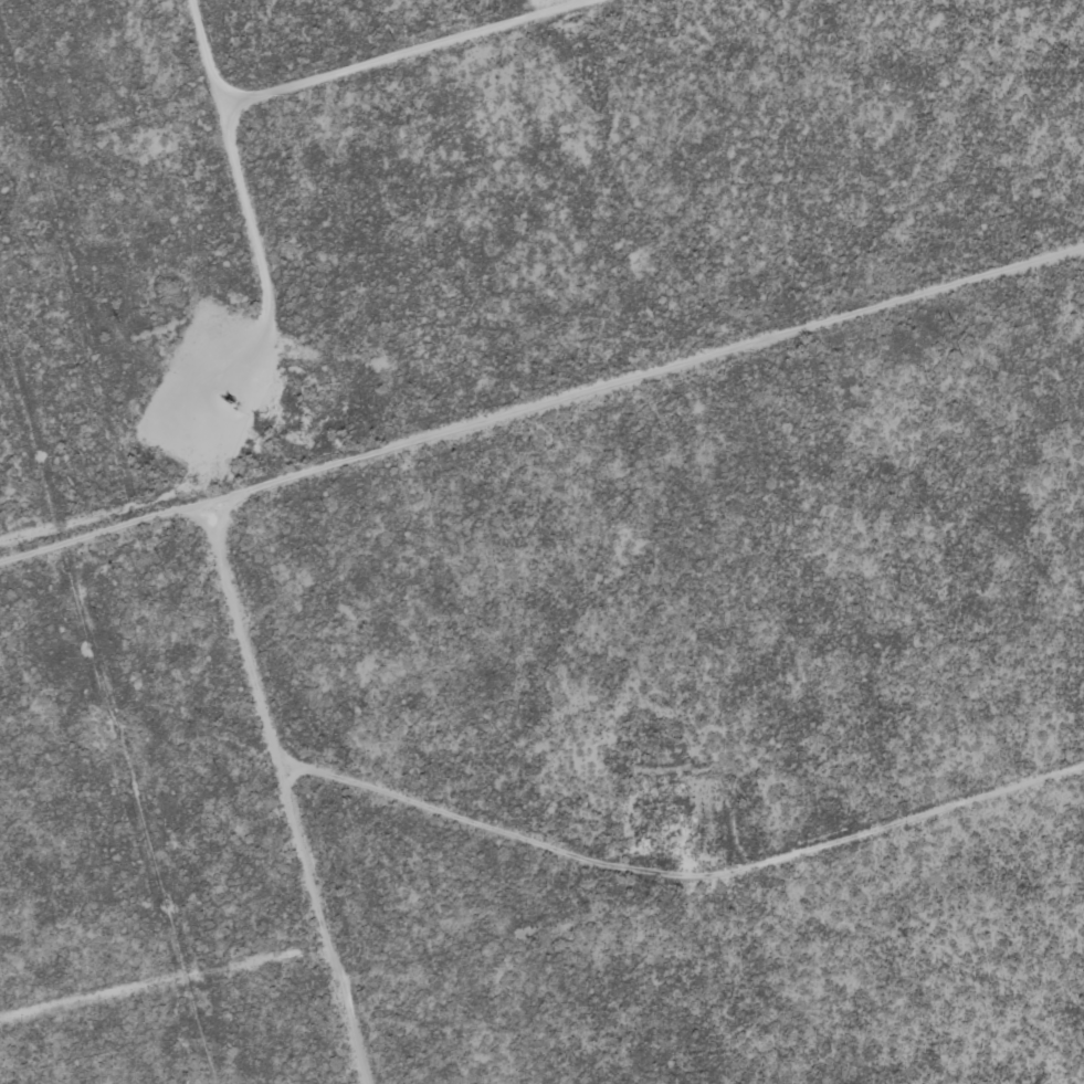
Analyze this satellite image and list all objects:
road: (541, 390)
road: (293, 783)
road: (685, 888)

